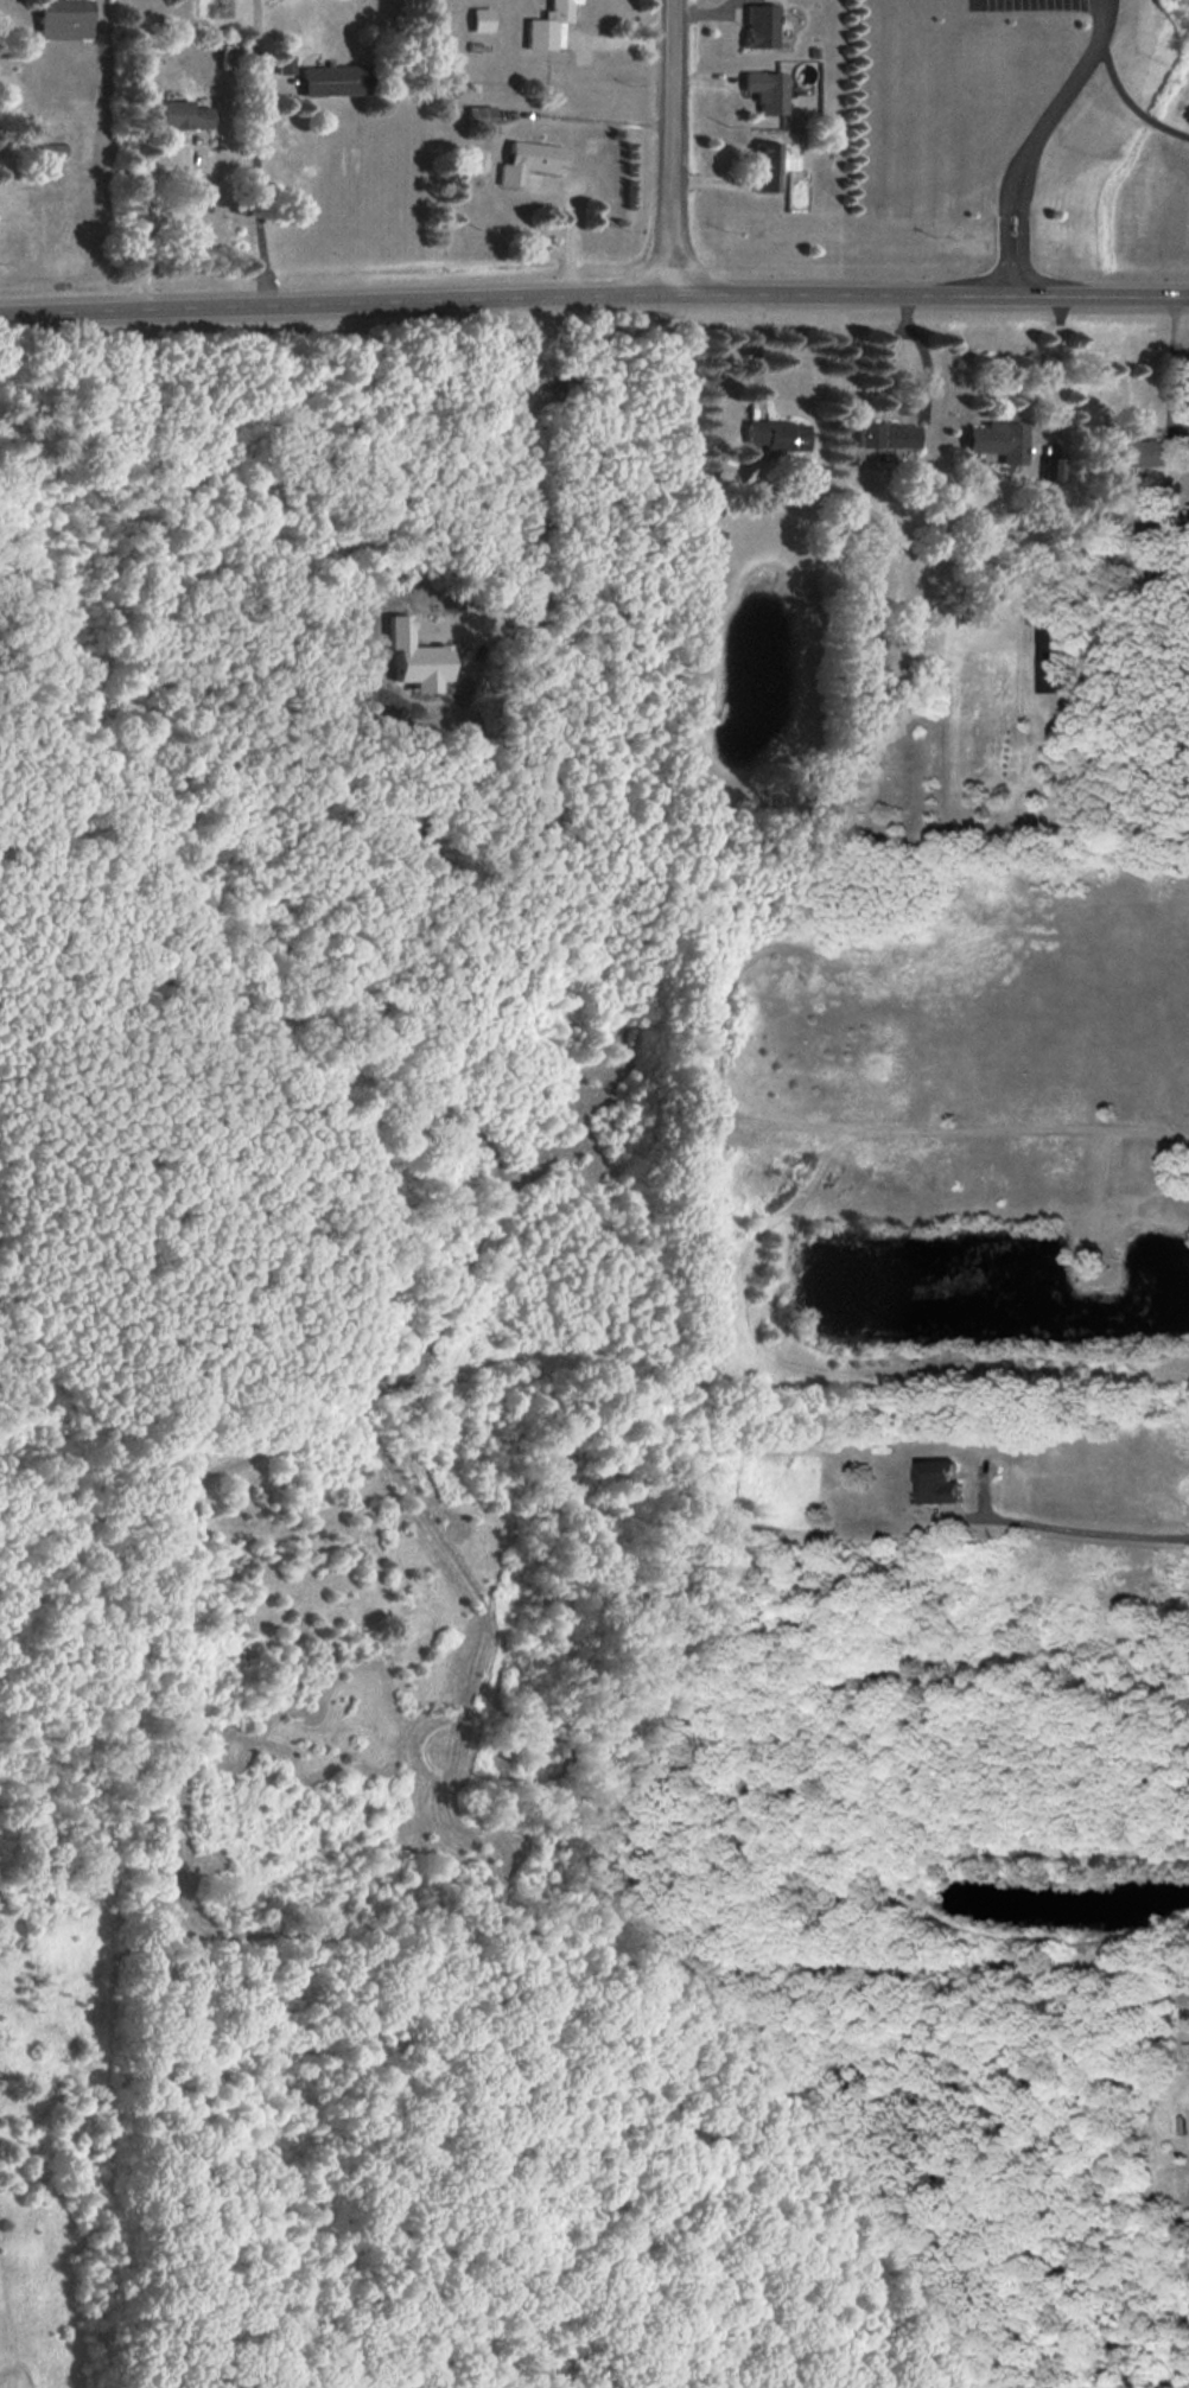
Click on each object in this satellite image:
building: (63, 19)
building: (481, 19)
building: (548, 25)
building: (759, 25)
building: (284, 64)
building: (332, 79)
building: (767, 90)
road: (1130, 110)
building: (178, 114)
building: (479, 115)
road: (1042, 140)
road: (670, 144)
building: (50, 151)
road: (250, 152)
building: (529, 160)
building: (765, 166)
road: (164, 222)
road: (593, 292)
road: (923, 351)
road: (757, 352)
road: (1168, 363)
road: (1055, 365)
building: (886, 434)
building: (775, 438)
building: (997, 440)
building: (1151, 452)
building: (1053, 469)
building: (714, 540)
building: (910, 619)
building: (1051, 658)
building: (939, 1483)
road: (1086, 1539)

